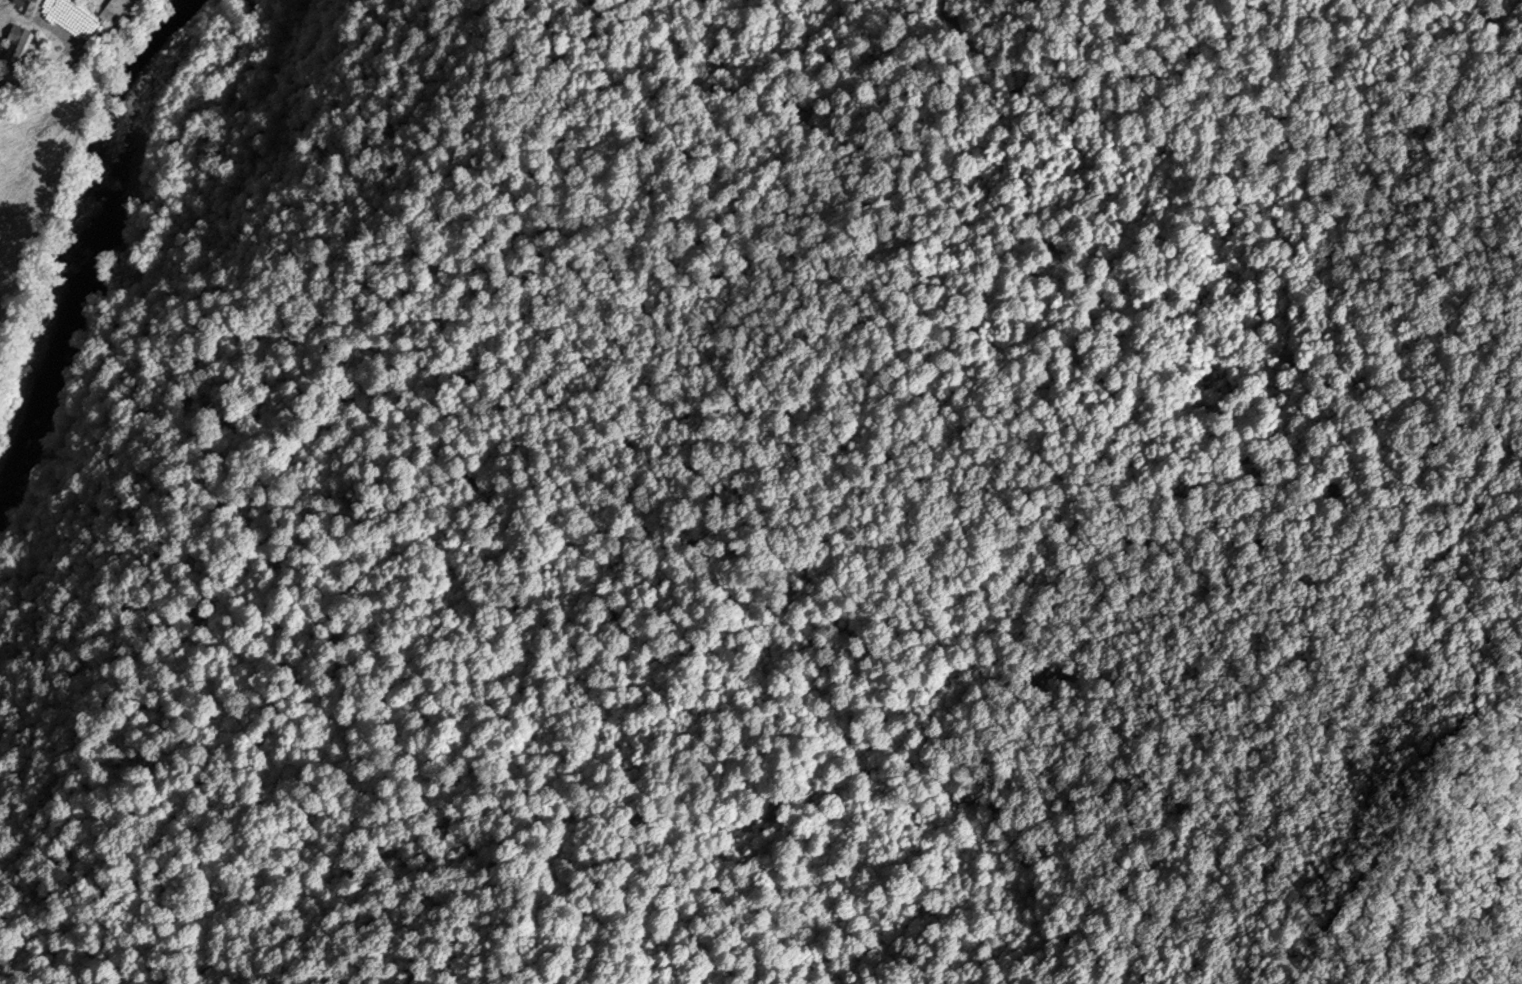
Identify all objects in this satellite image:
building: (114, 10)
building: (20, 44)
road: (79, 55)
river: (79, 223)

